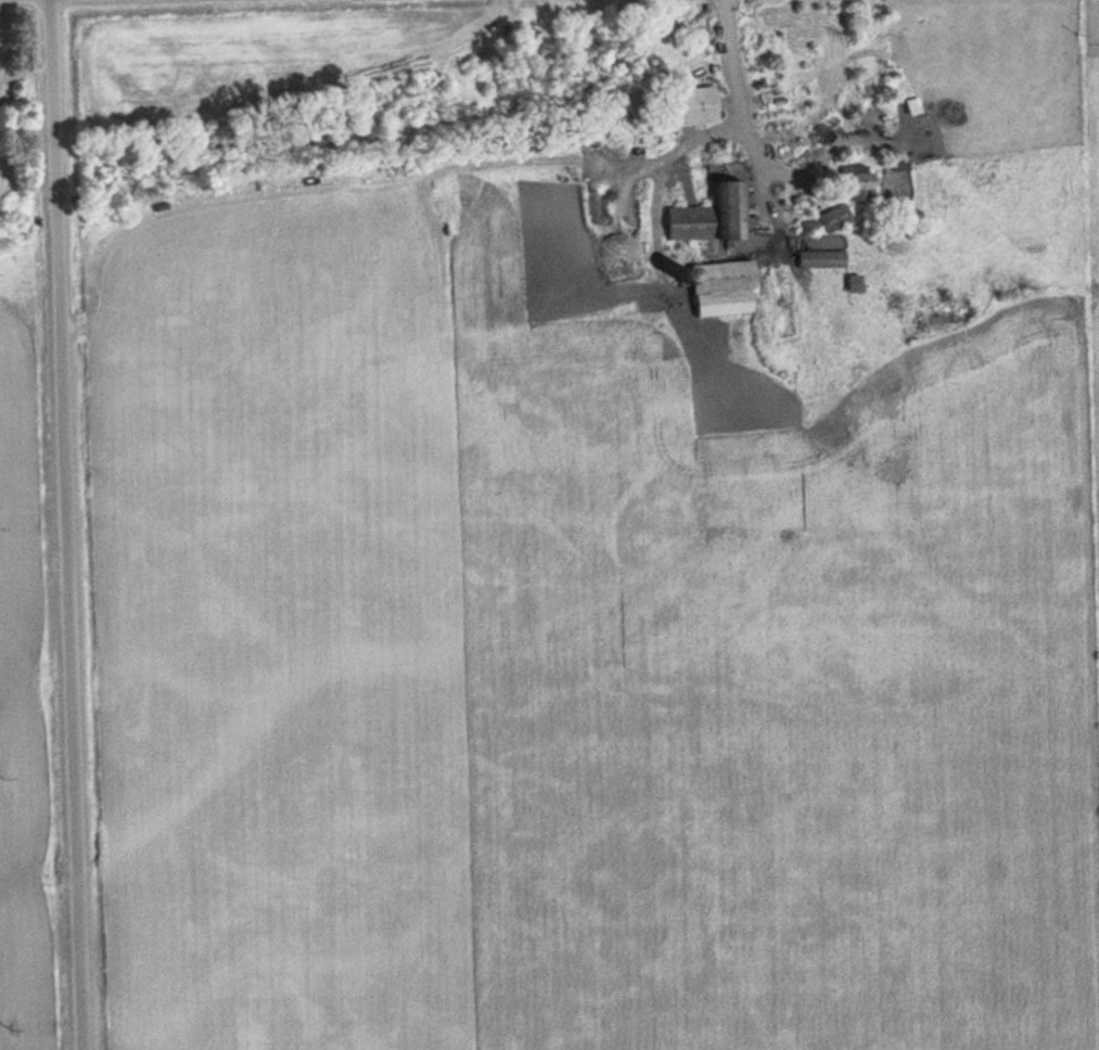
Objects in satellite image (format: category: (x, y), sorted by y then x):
building: (689, 105)
building: (912, 106)
building: (900, 166)
building: (857, 182)
building: (712, 216)
building: (835, 218)
building: (822, 258)
building: (720, 286)
road: (66, 525)

